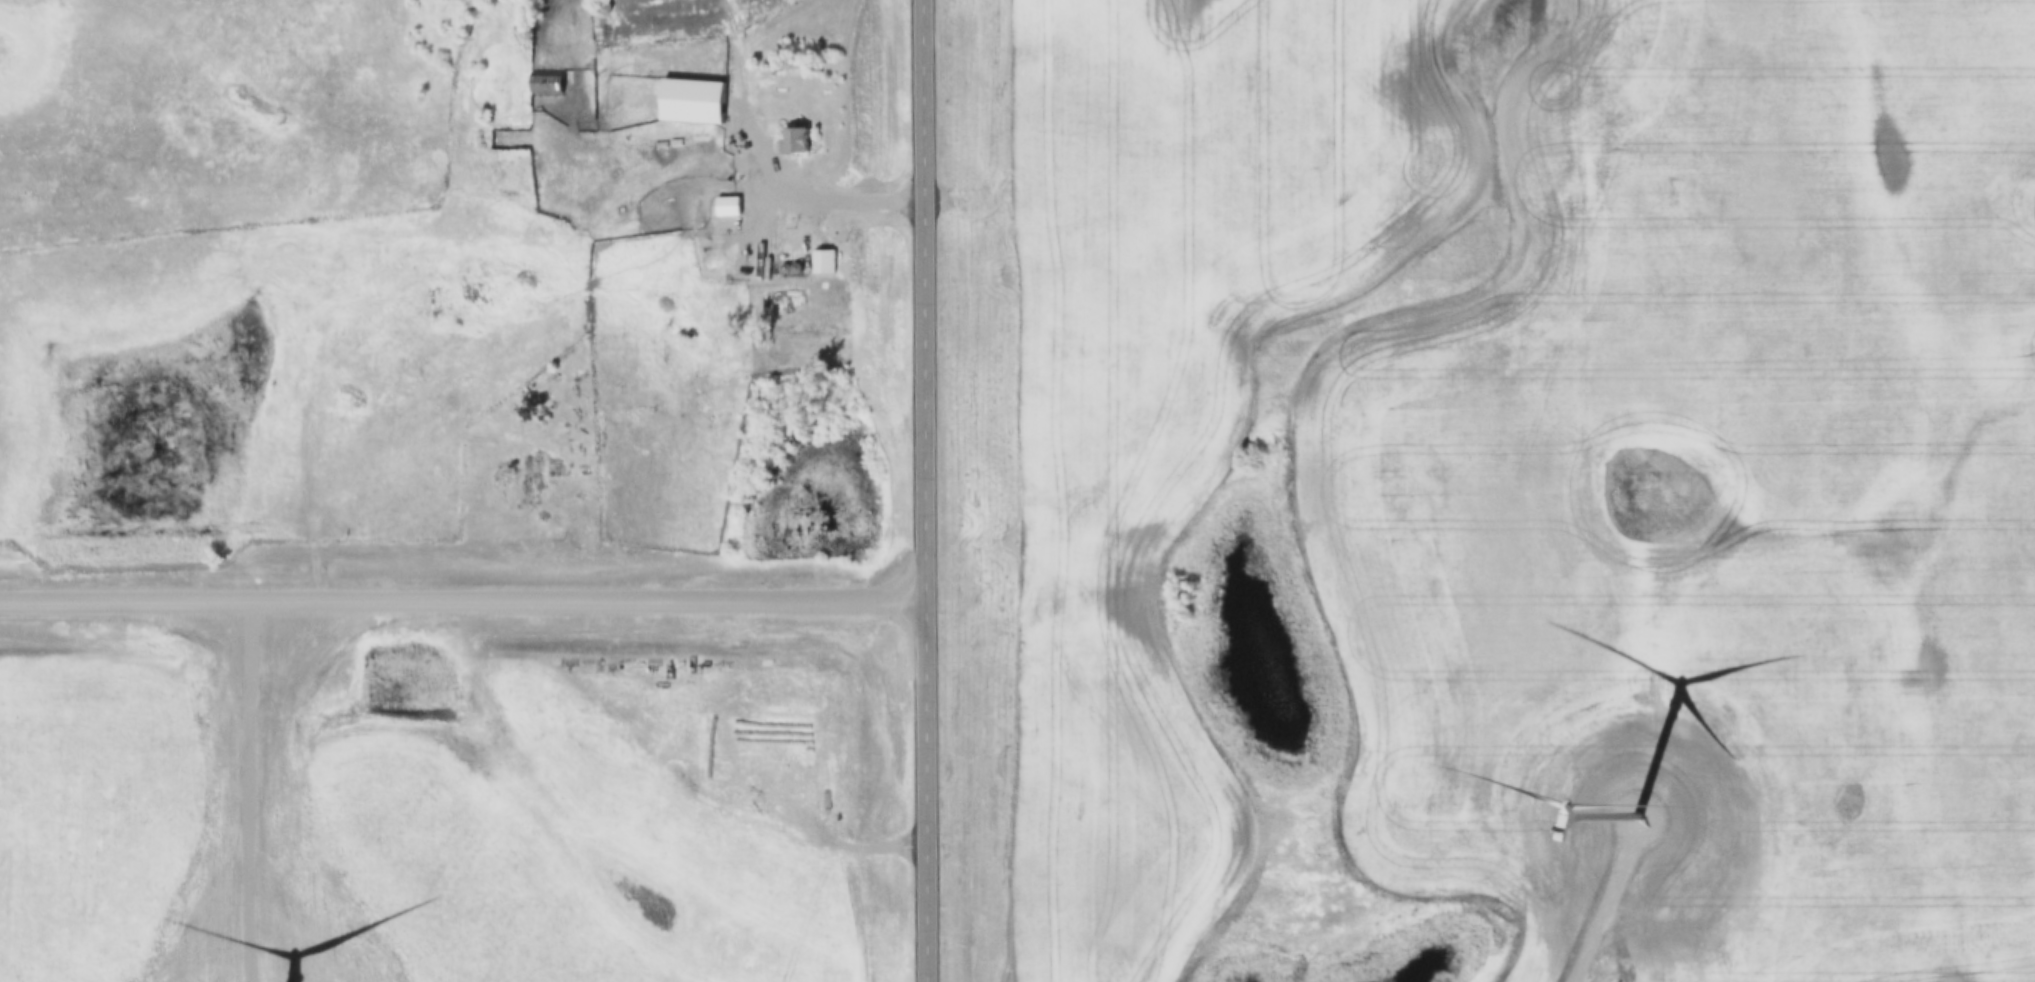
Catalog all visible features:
building: (542, 85)
building: (688, 103)
building: (789, 139)
road: (801, 194)
building: (722, 208)
building: (821, 264)
road: (927, 490)
road: (463, 597)
road: (248, 790)
wind turbine: (1612, 795)
road: (1575, 932)

